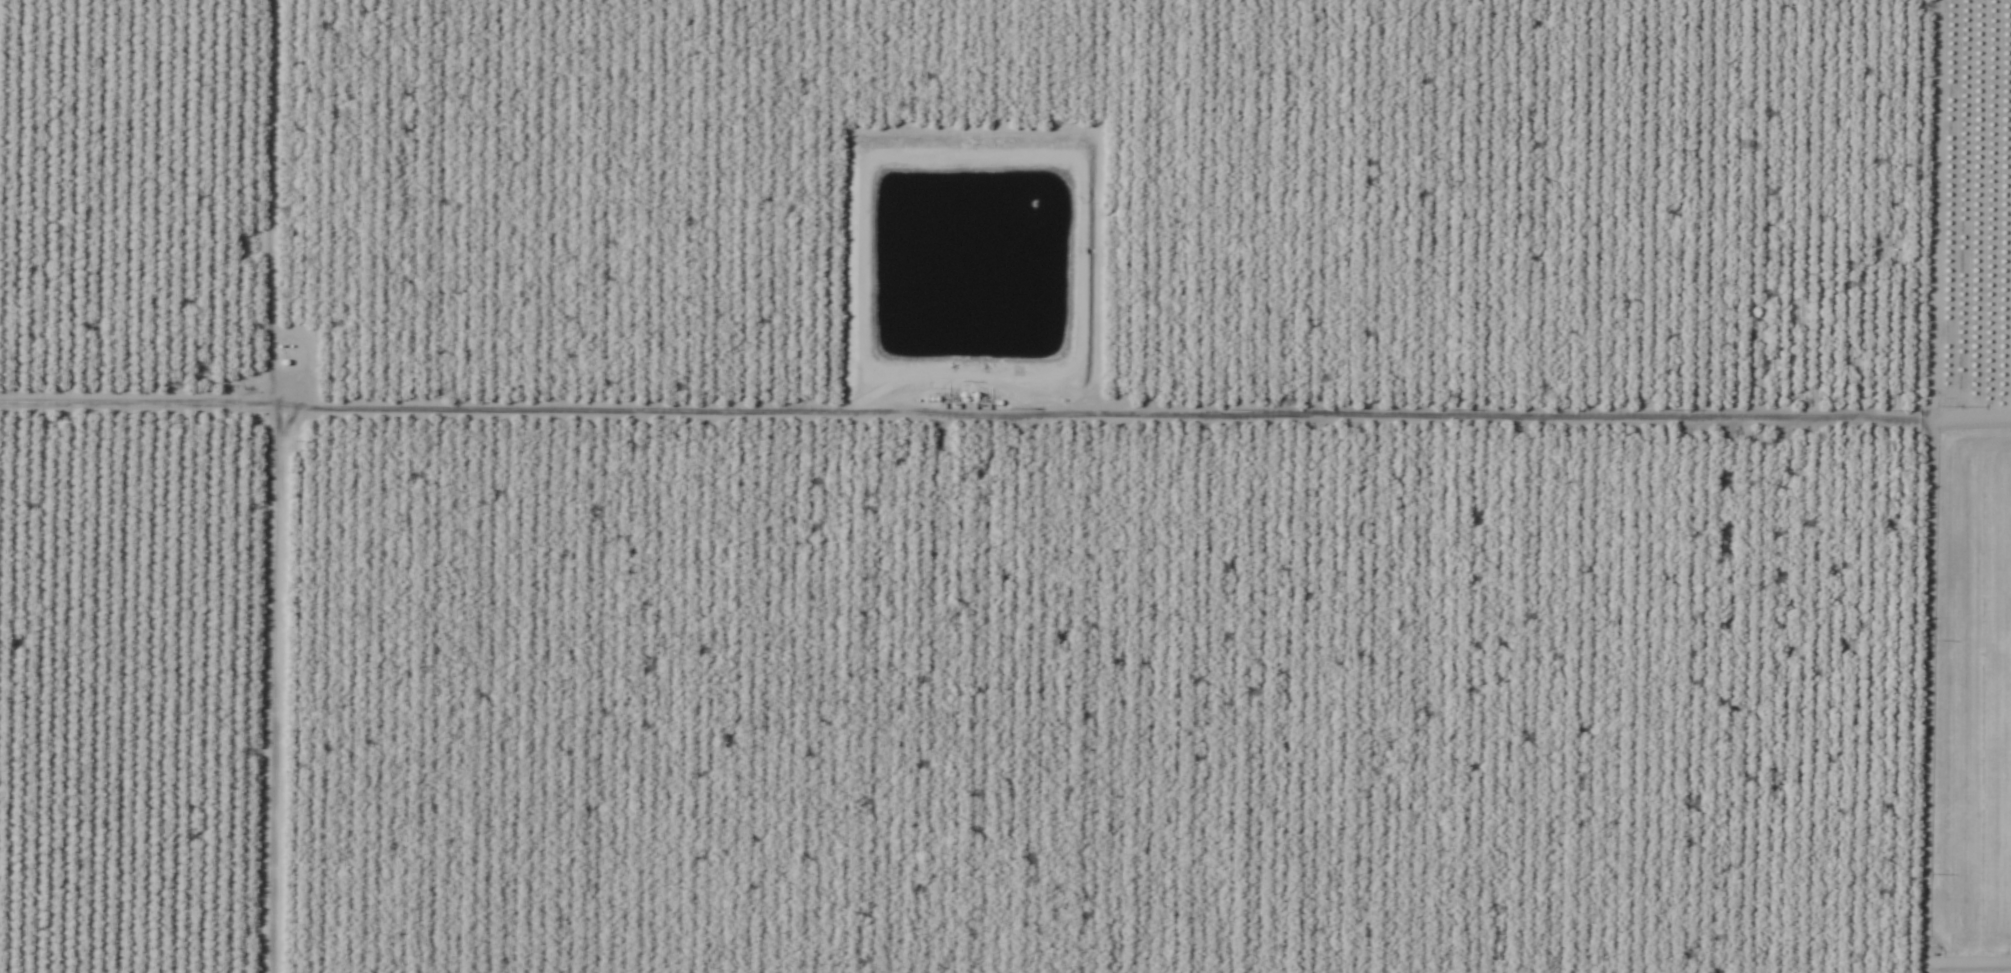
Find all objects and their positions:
wastewater plant: (969, 260)
road: (287, 486)
road: (1894, 623)
crop: (1971, 705)

